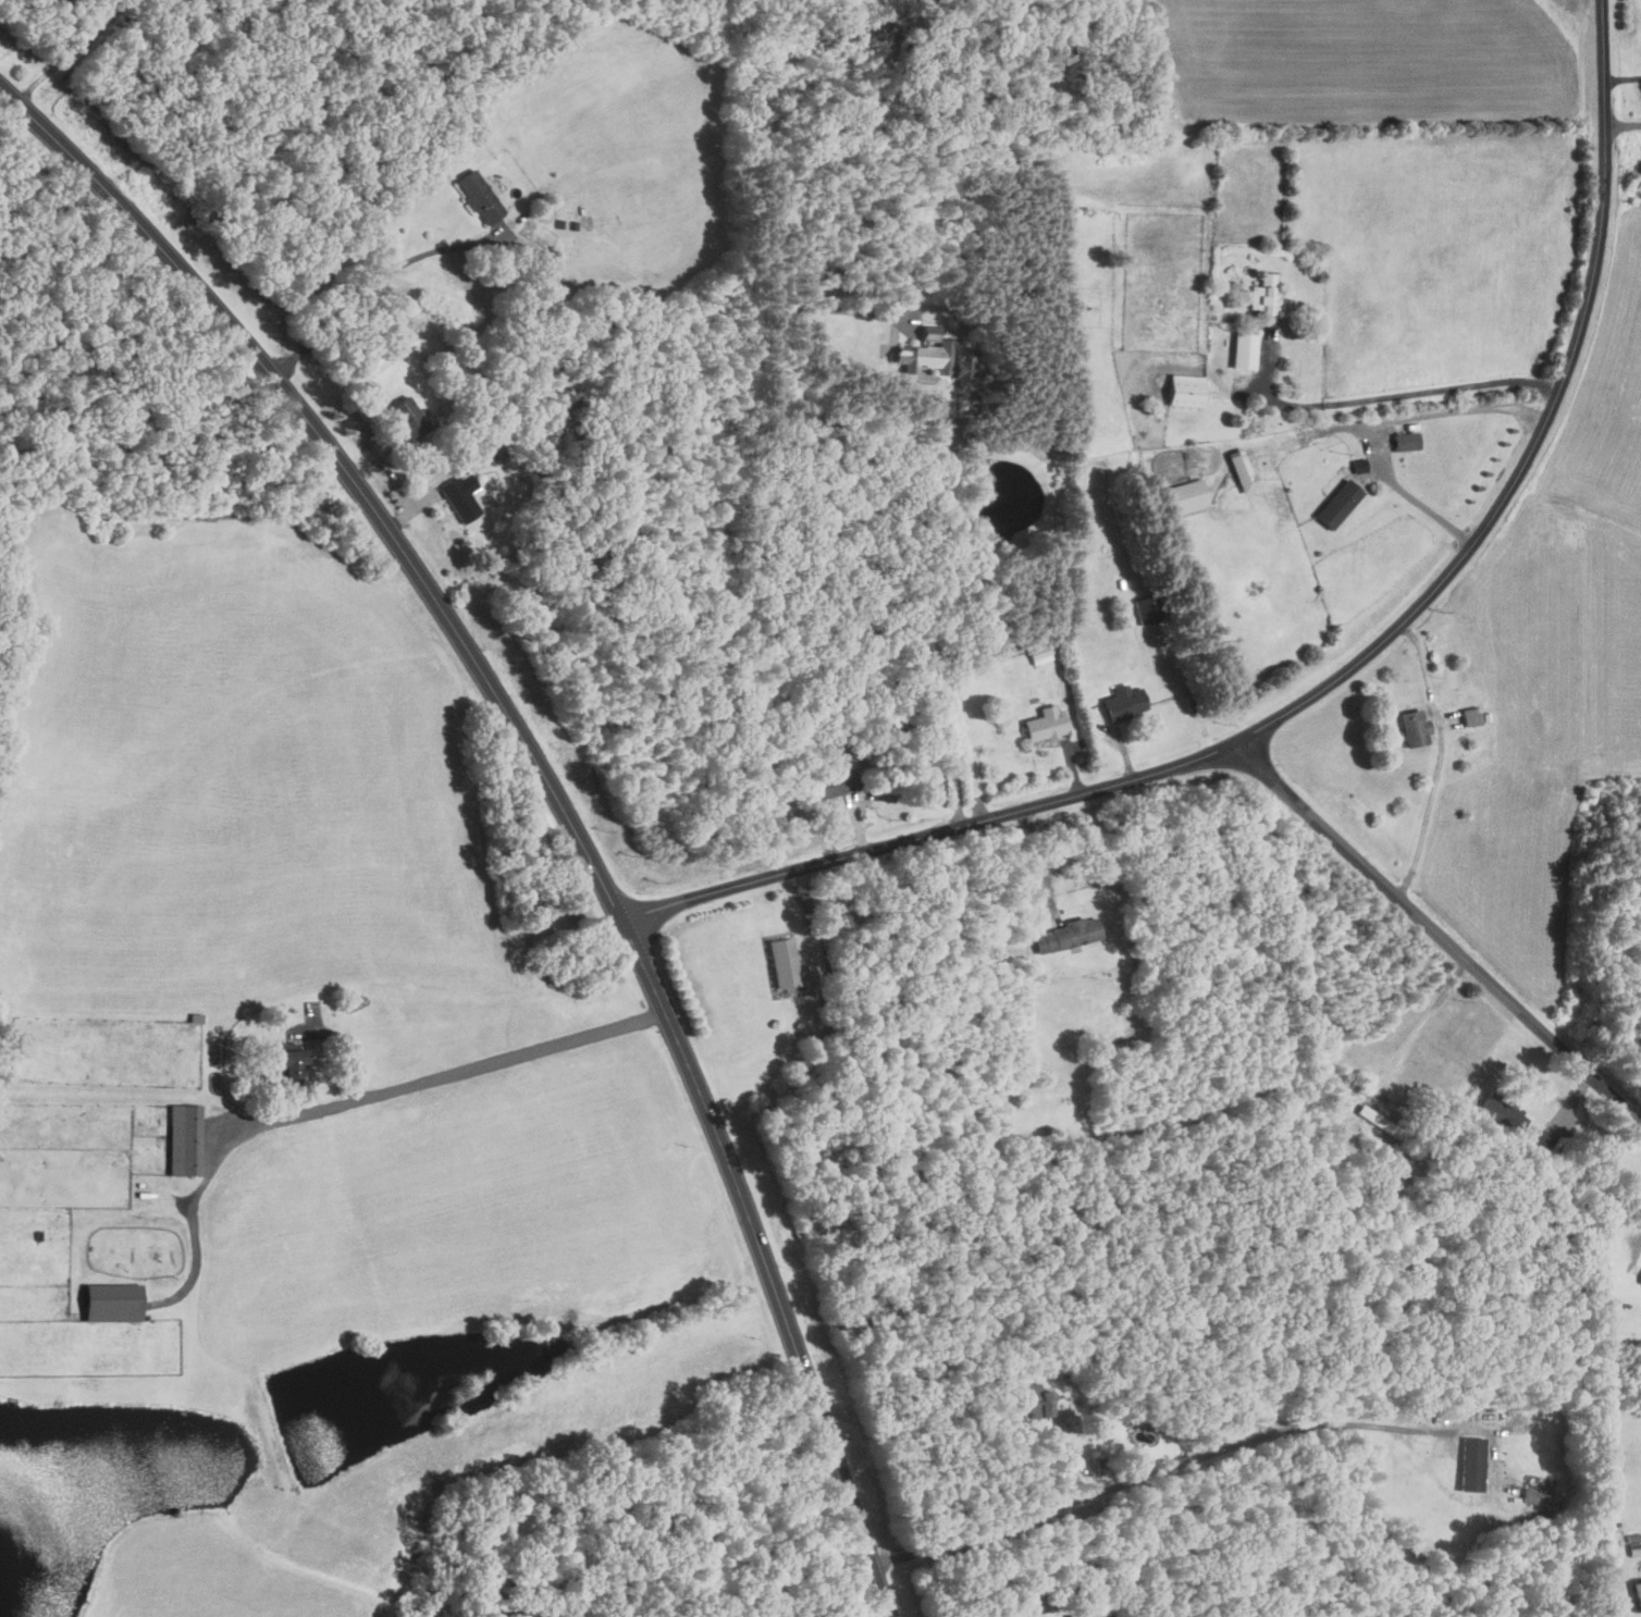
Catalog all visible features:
road: (74, 52)
road: (1621, 125)
building: (479, 196)
road: (371, 287)
building: (1264, 294)
building: (1244, 350)
building: (933, 358)
building: (1185, 390)
road: (1397, 391)
building: (408, 418)
building: (1406, 441)
building: (496, 453)
building: (1359, 465)
building: (1242, 470)
building: (1187, 495)
building: (460, 496)
building: (1337, 504)
road: (1423, 507)
road: (831, 532)
building: (1149, 608)
building: (1039, 654)
road: (1344, 679)
building: (1124, 701)
building: (1471, 715)
building: (1045, 721)
building: (1414, 727)
road: (1440, 764)
building: (834, 783)
road: (550, 789)
road: (1039, 861)
building: (1070, 933)
road: (1441, 941)
building: (784, 959)
building: (288, 1059)
road: (385, 1090)
building: (1505, 1110)
building: (184, 1138)
building: (1640, 1281)
building: (112, 1301)
building: (1036, 1400)
building: (1472, 1461)
road: (1163, 1469)
building: (1638, 1591)
building: (1041, 1614)

